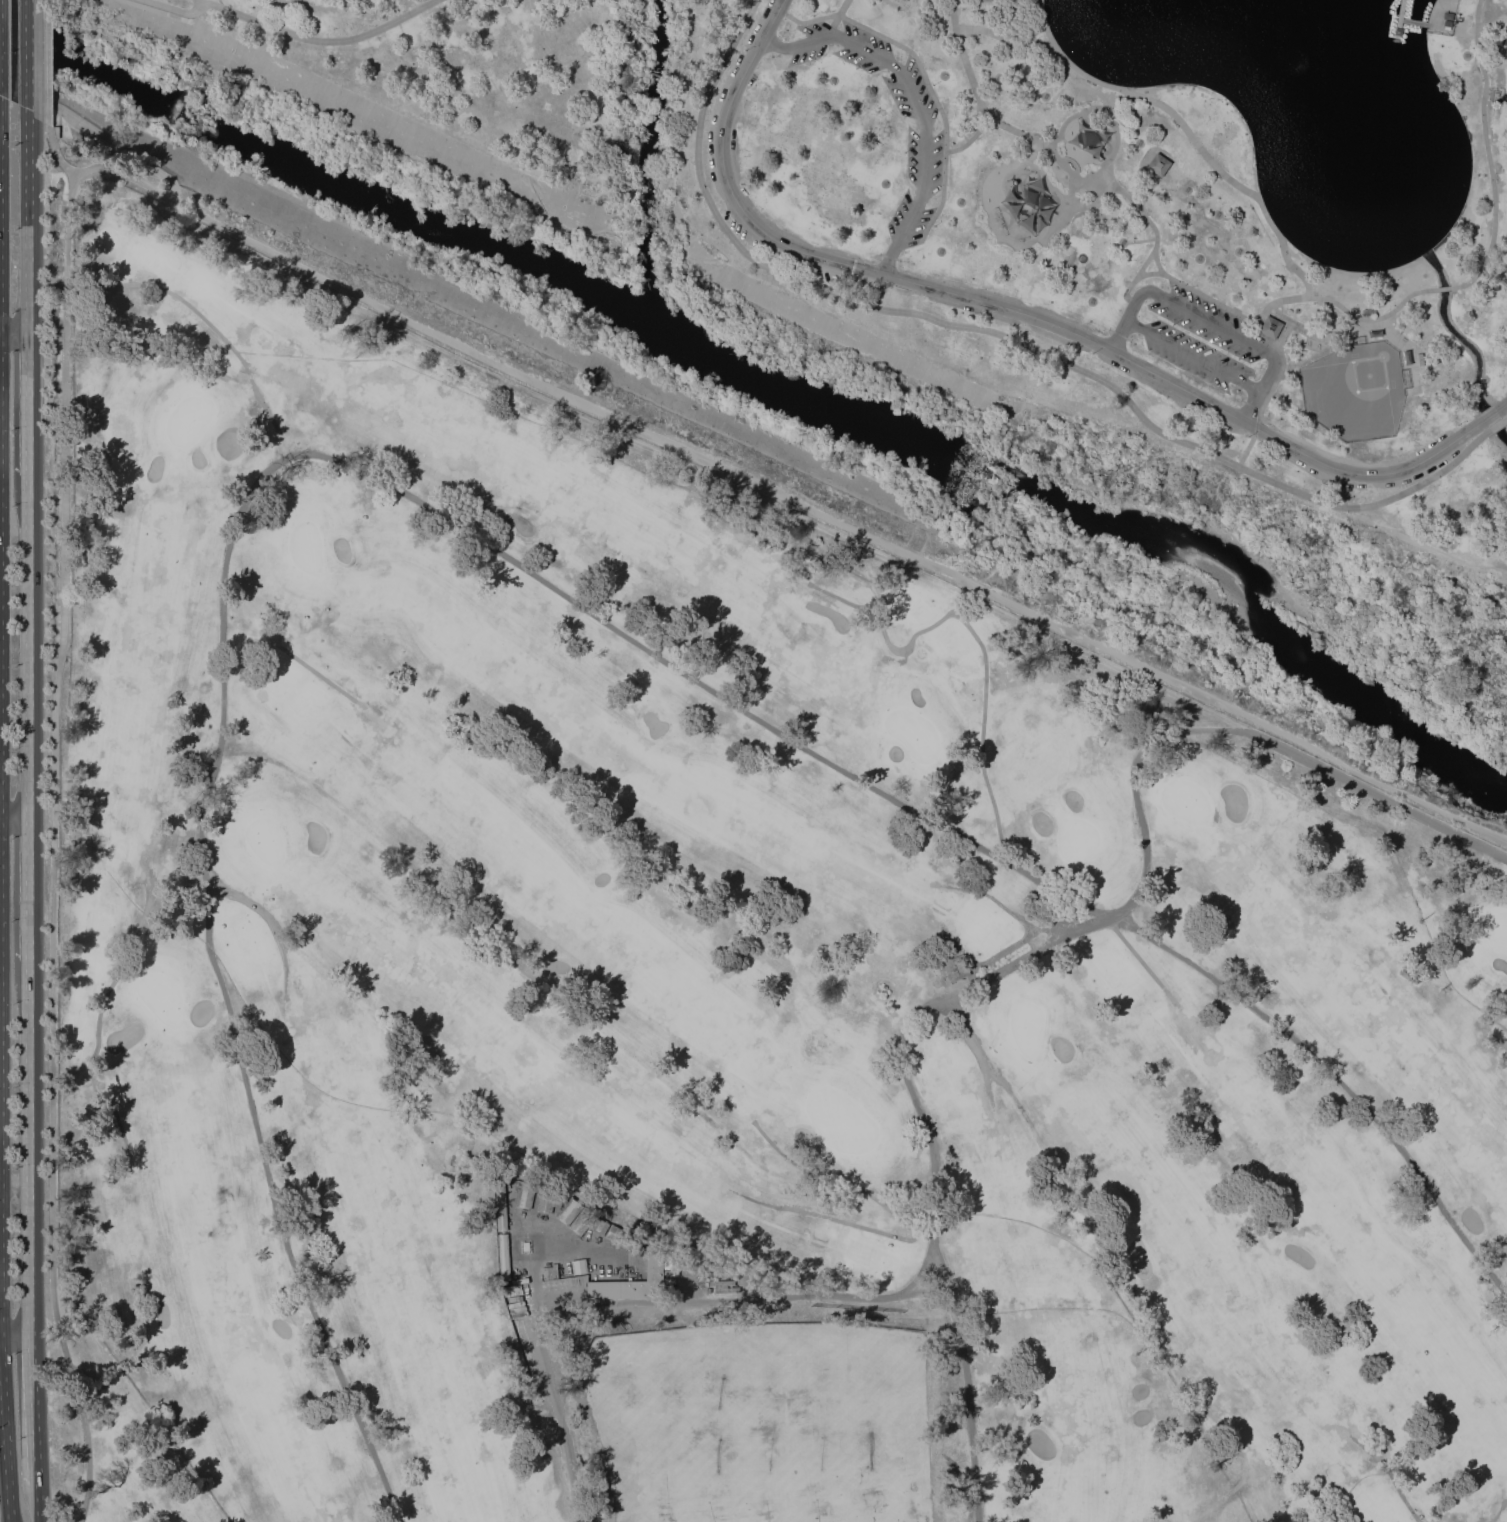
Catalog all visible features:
building: (983, 0)
road: (841, 6)
road: (174, 9)
pier: (1400, 16)
building: (1447, 16)
pier: (1412, 21)
road: (1003, 35)
road: (318, 40)
road: (26, 55)
road: (47, 62)
road: (922, 75)
road: (973, 87)
road: (916, 99)
road: (1186, 131)
road: (968, 139)
parking lot: (923, 150)
road: (1487, 153)
building: (1157, 163)
road: (162, 174)
road: (1146, 189)
park: (1054, 206)
road: (27, 222)
road: (1145, 263)
road: (1133, 279)
road: (1191, 287)
road: (1443, 288)
road: (181, 302)
road: (1013, 310)
road: (1373, 318)
road: (1208, 323)
building: (1270, 327)
road: (13, 333)
road: (1002, 335)
road: (1118, 335)
parking lot: (1200, 339)
road: (1192, 355)
road: (1282, 357)
river: (766, 387)
park: (1354, 391)
road: (27, 403)
road: (1251, 405)
road: (1501, 406)
road: (1488, 415)
road: (1506, 417)
road: (1497, 424)
road: (1256, 428)
road: (1245, 451)
road: (836, 522)
road: (459, 528)
road: (1427, 546)
road: (976, 641)
road: (27, 643)
road: (291, 654)
park: (753, 761)
road: (14, 813)
road: (52, 849)
road: (28, 887)
road: (265, 915)
road: (1021, 920)
road: (1066, 925)
park: (1498, 930)
road: (1037, 951)
road: (1133, 952)
park: (712, 956)
road: (988, 959)
building: (955, 968)
road: (107, 987)
road: (975, 1049)
road: (28, 1072)
road: (983, 1079)
road: (839, 1180)
road: (14, 1184)
building: (524, 1196)
building: (542, 1201)
road: (875, 1230)
building: (525, 1246)
building: (501, 1256)
road: (28, 1260)
building: (577, 1266)
building: (632, 1280)
road: (14, 1336)
road: (551, 1395)
road: (32, 1410)
park: (770, 1424)
park: (108, 1437)
road: (4, 1439)
road: (1397, 1489)
road: (36, 1503)
road: (1490, 1515)

